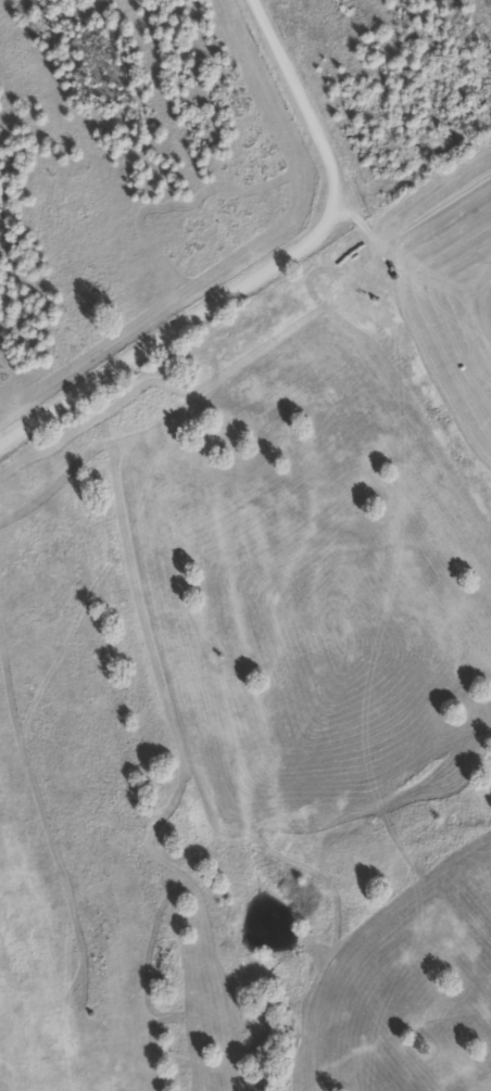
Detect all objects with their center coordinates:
road: (244, 267)

